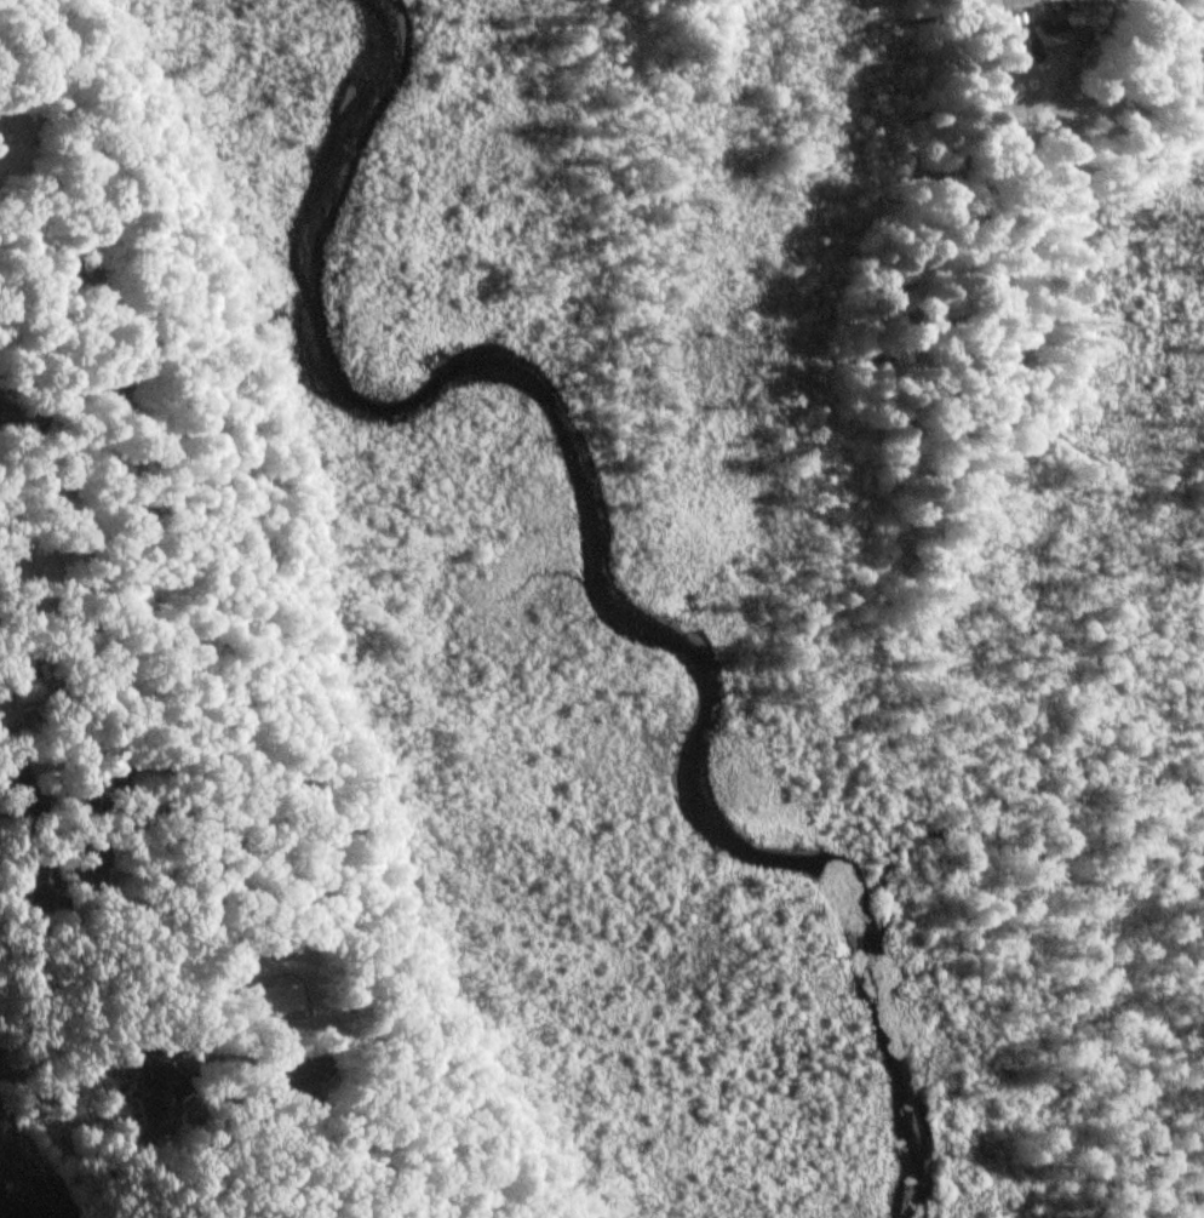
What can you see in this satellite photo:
building: (1047, 45)
road: (228, 764)
building: (19, 794)
building: (44, 876)
building: (298, 1076)
building: (156, 1097)

